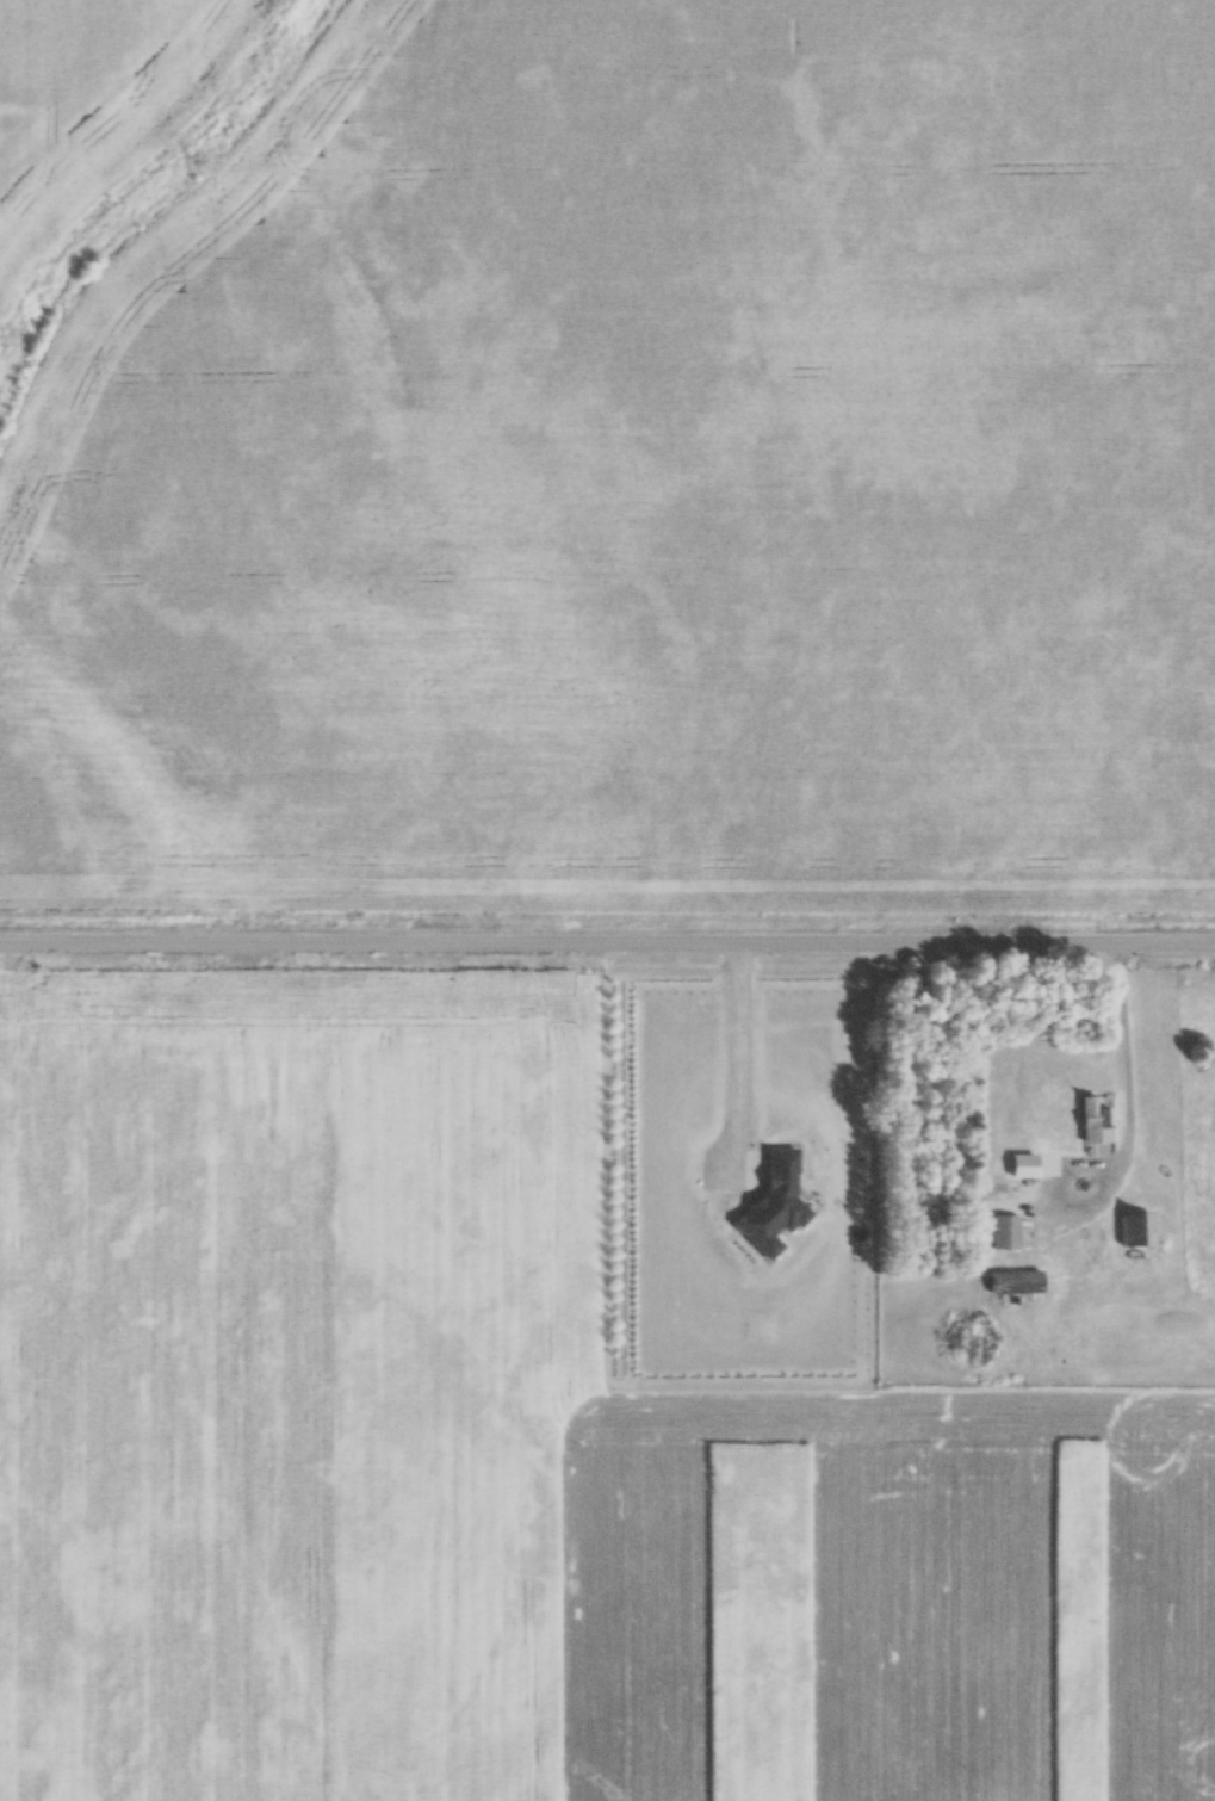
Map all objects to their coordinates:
road: (607, 947)
road: (734, 1060)
road: (1132, 1097)
building: (1092, 1122)
building: (1023, 1166)
building: (999, 1192)
building: (1140, 1230)
building: (1005, 1233)
building: (1015, 1283)

